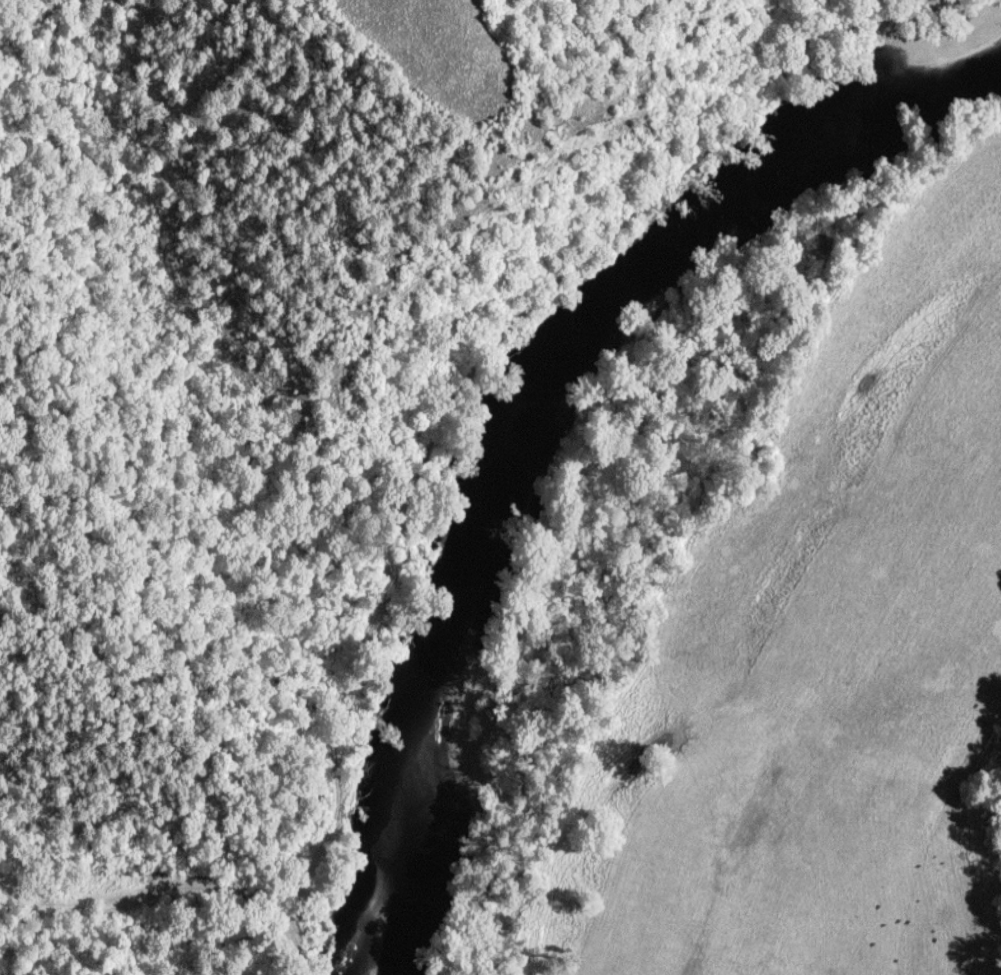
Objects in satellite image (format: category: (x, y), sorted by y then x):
river: (521, 399)

